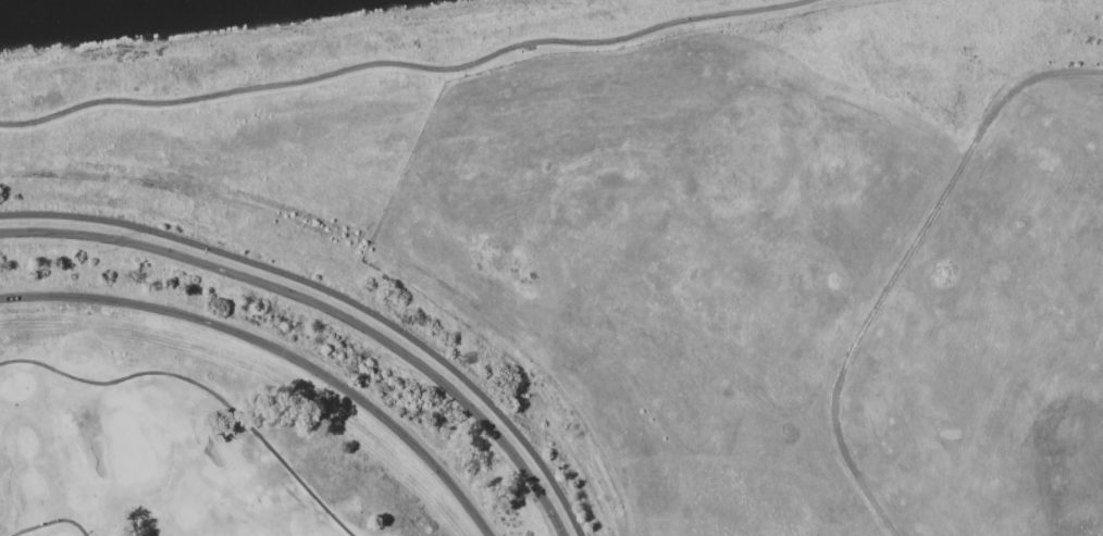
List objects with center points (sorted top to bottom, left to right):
road: (410, 64)
road: (903, 266)
park: (577, 290)
road: (337, 294)
road: (324, 307)
road: (276, 349)
road: (200, 392)
park: (185, 444)
road: (64, 528)

